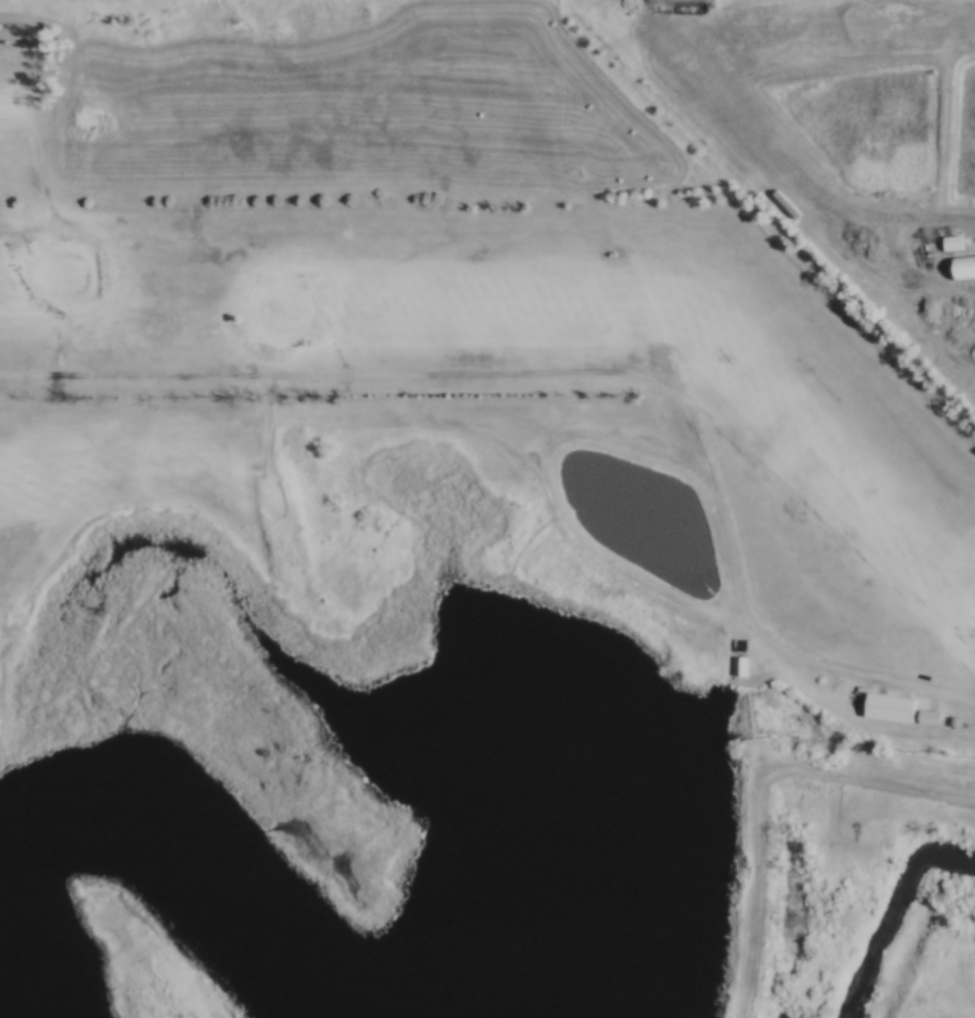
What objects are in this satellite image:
building: (946, 242)
road: (720, 493)
park: (451, 547)
building: (734, 665)
building: (741, 666)
building: (883, 707)
building: (923, 716)
building: (945, 720)
road: (764, 792)

